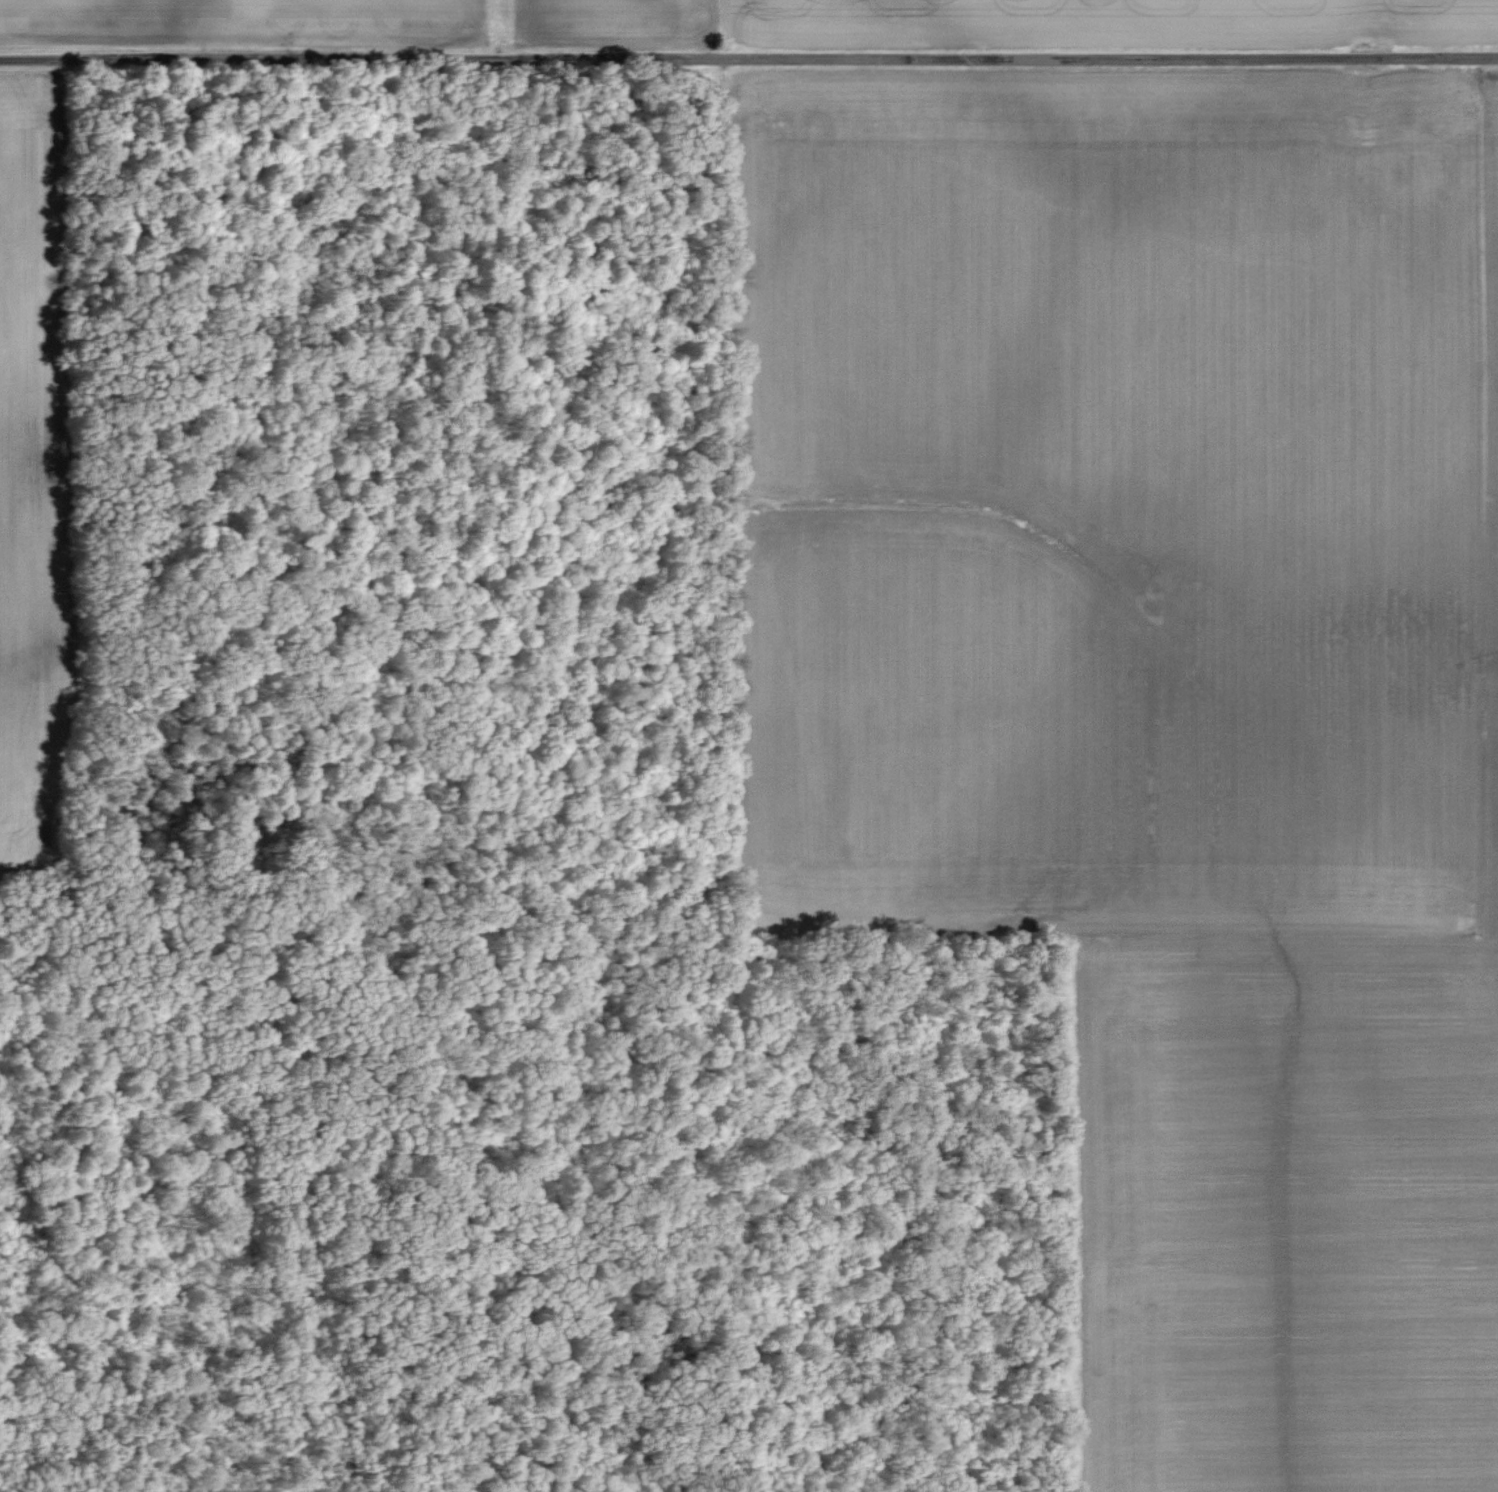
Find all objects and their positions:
road: (748, 58)

